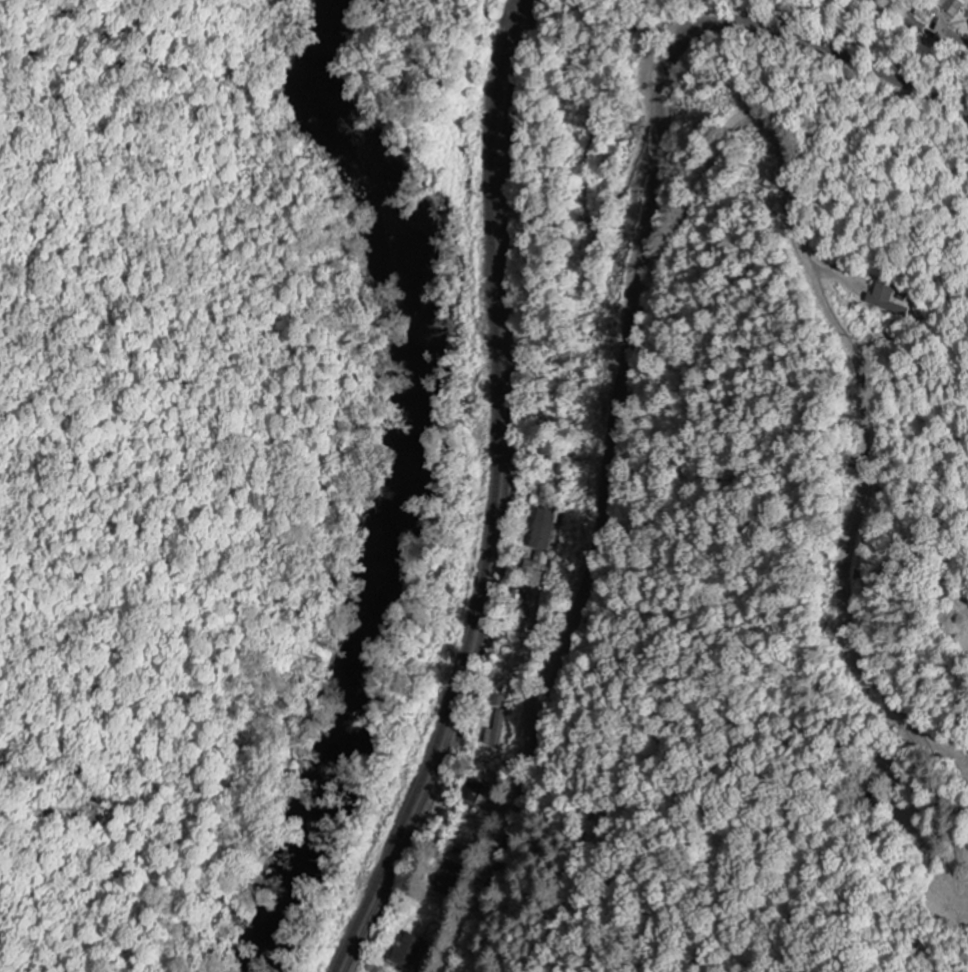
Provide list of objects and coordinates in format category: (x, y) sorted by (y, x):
building: (952, 6)
road: (959, 35)
building: (882, 299)
road: (557, 354)
road: (625, 361)
road: (545, 474)
river: (415, 479)
railway: (491, 498)
railway: (502, 498)
building: (545, 530)

